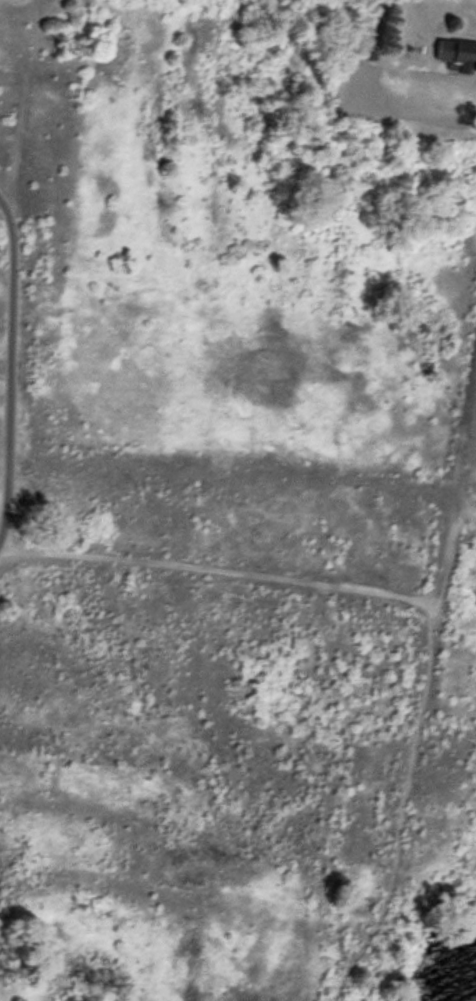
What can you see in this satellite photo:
building: (456, 52)
road: (8, 120)
road: (6, 378)
road: (457, 481)
road: (465, 508)
road: (216, 572)

